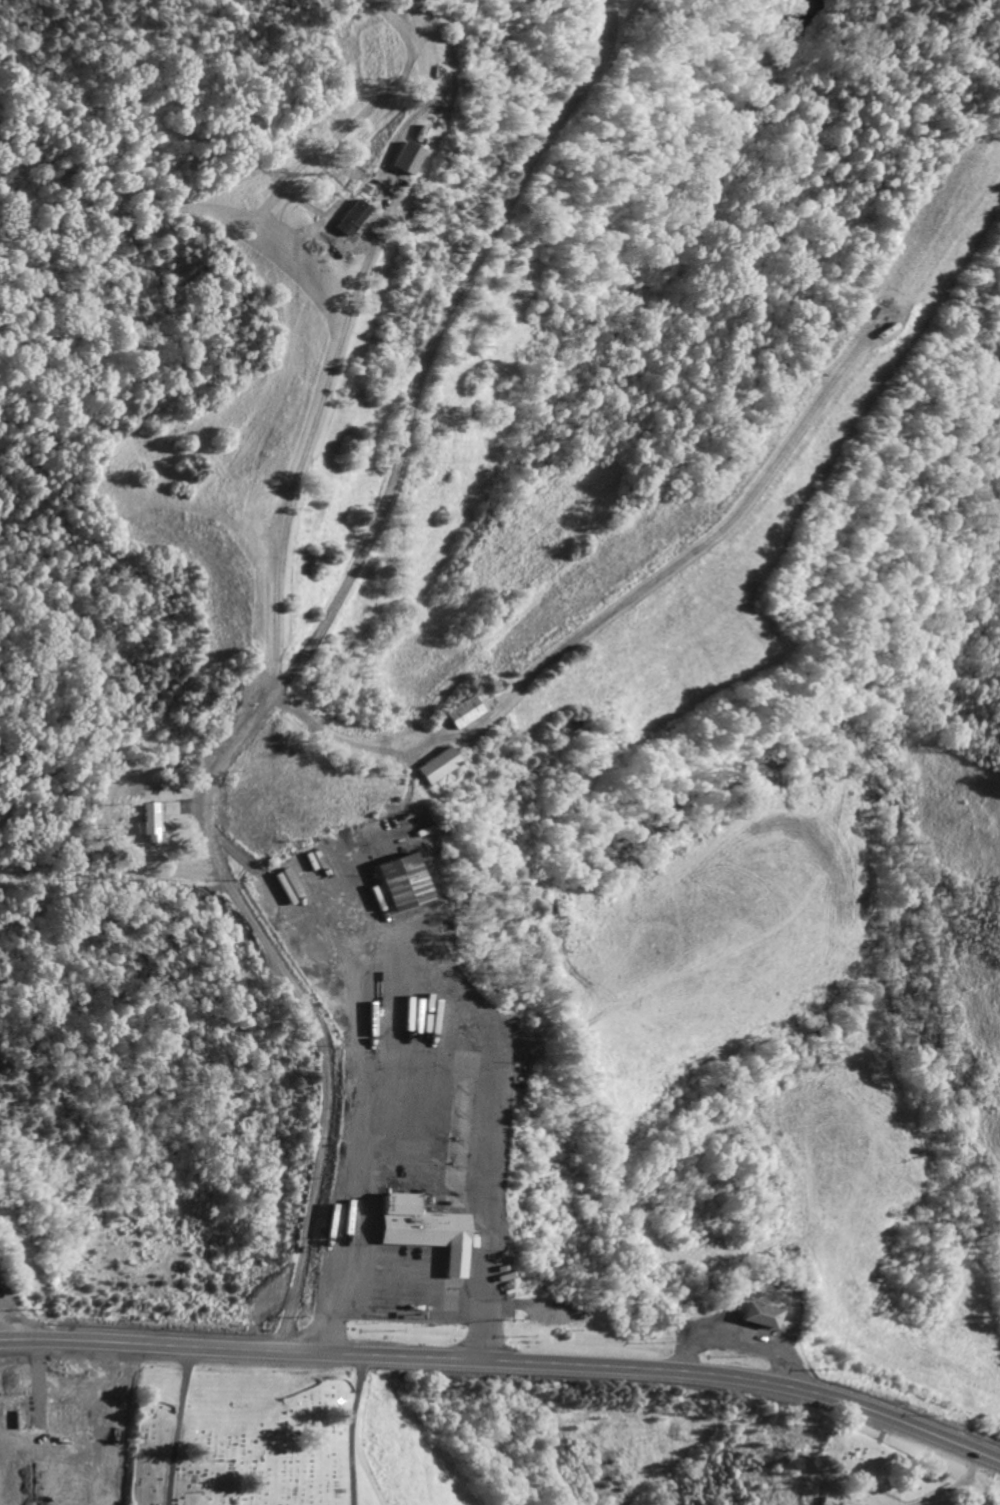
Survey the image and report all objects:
building: (398, 159)
building: (345, 218)
road: (334, 338)
road: (600, 614)
road: (290, 667)
building: (456, 713)
building: (430, 766)
road: (346, 873)
building: (392, 883)
building: (418, 1231)
road: (405, 1301)
building: (749, 1317)
road: (507, 1363)
park: (248, 1429)
road: (67, 1459)
building: (824, 1502)

